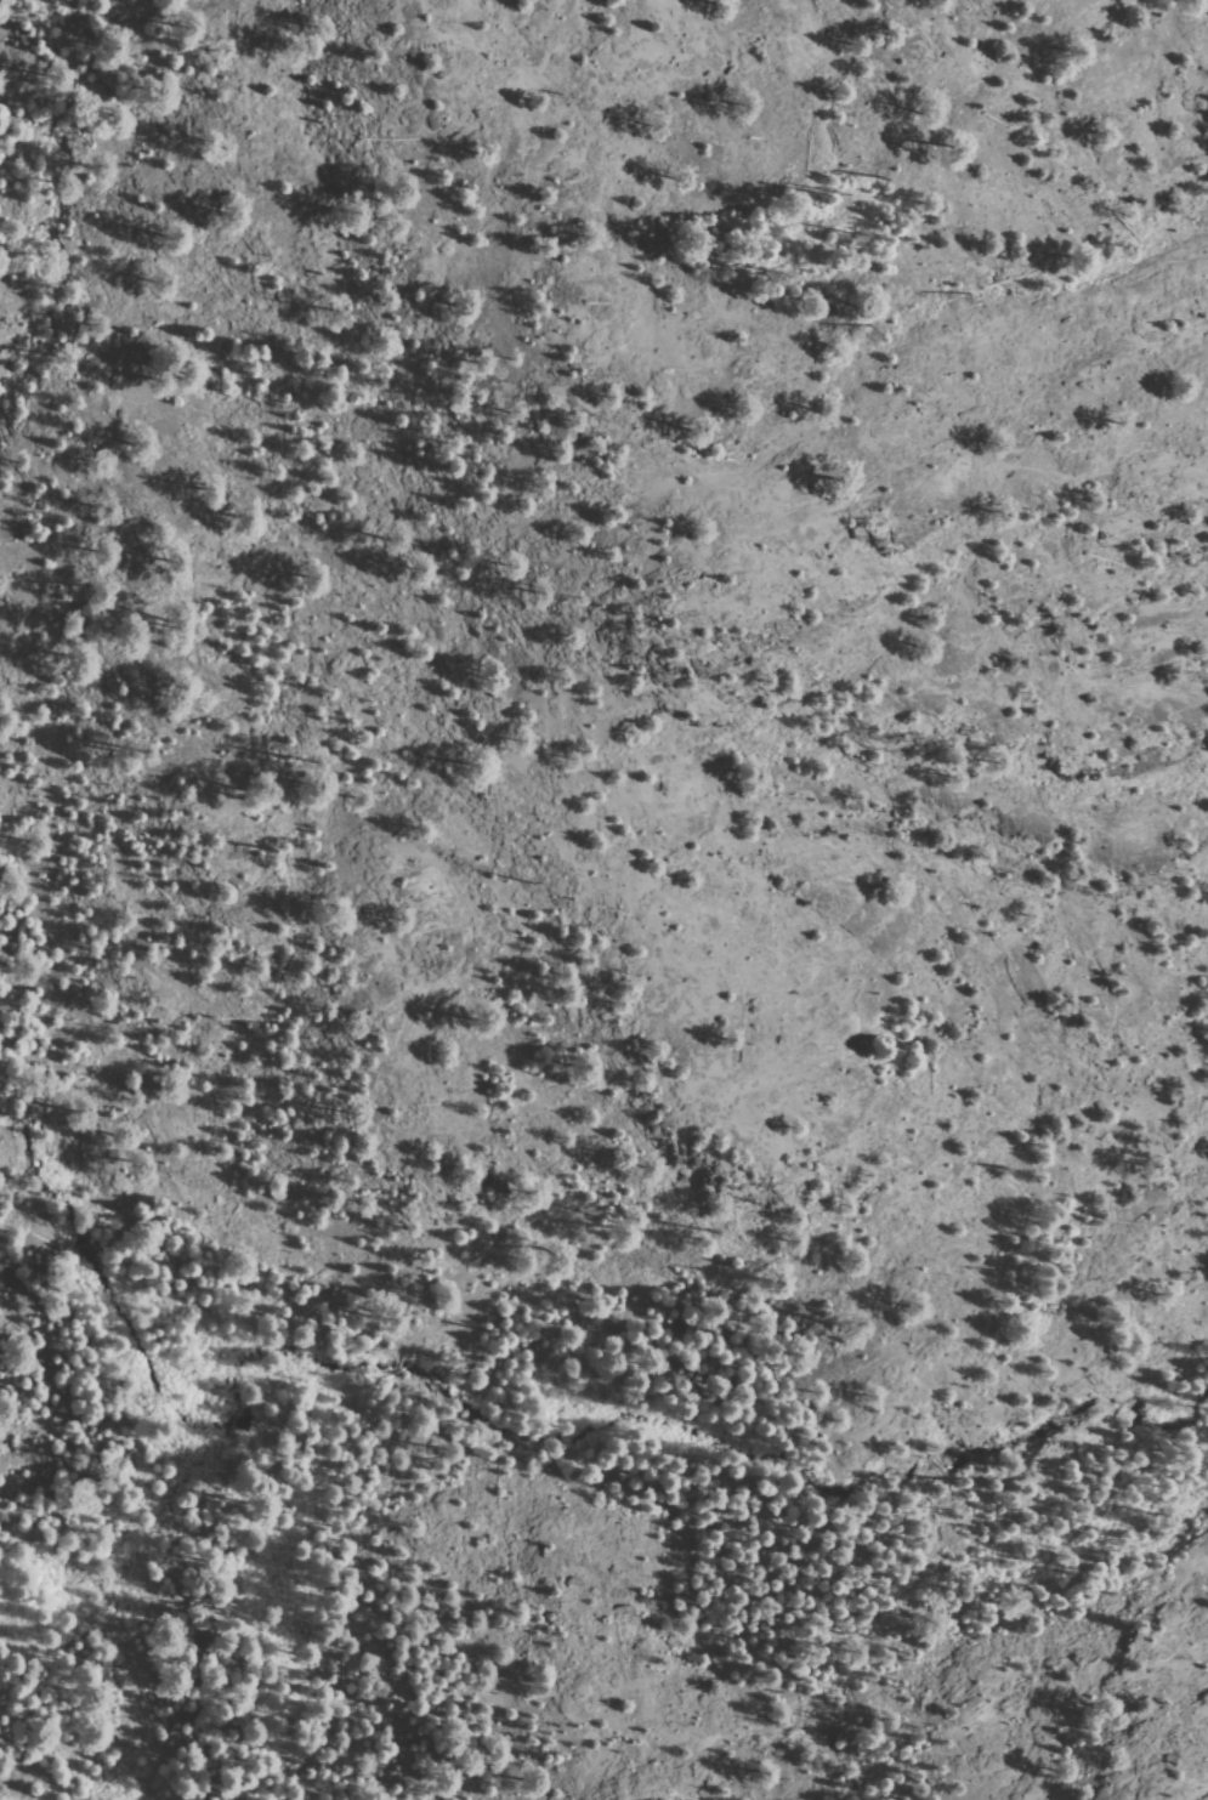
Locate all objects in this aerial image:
road: (608, 1477)

